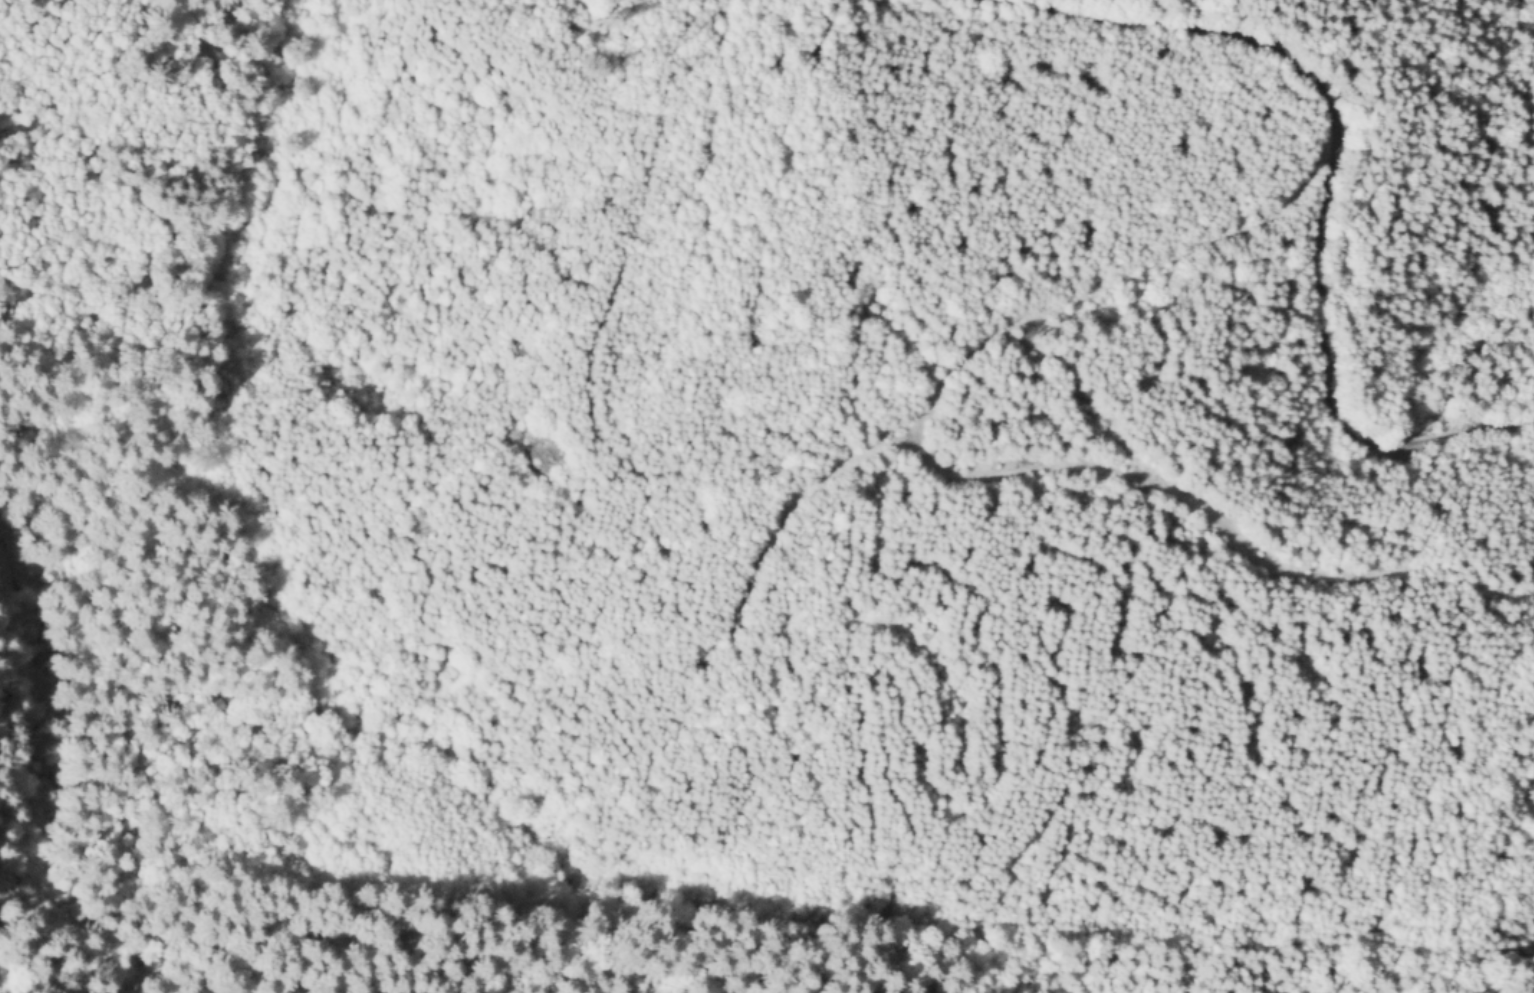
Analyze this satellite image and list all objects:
road: (1144, 271)
road: (1325, 369)
road: (1155, 489)

